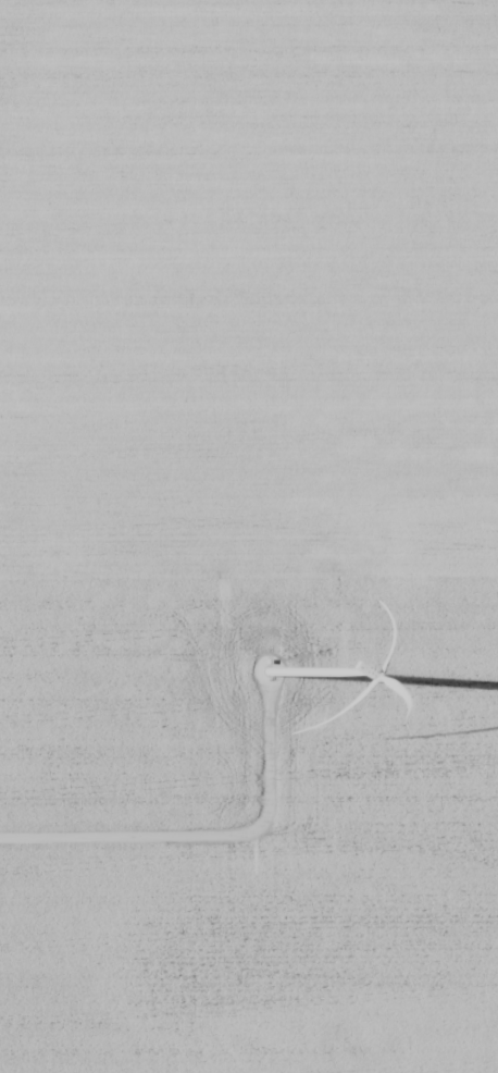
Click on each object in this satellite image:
wind turbine: (273, 671)

